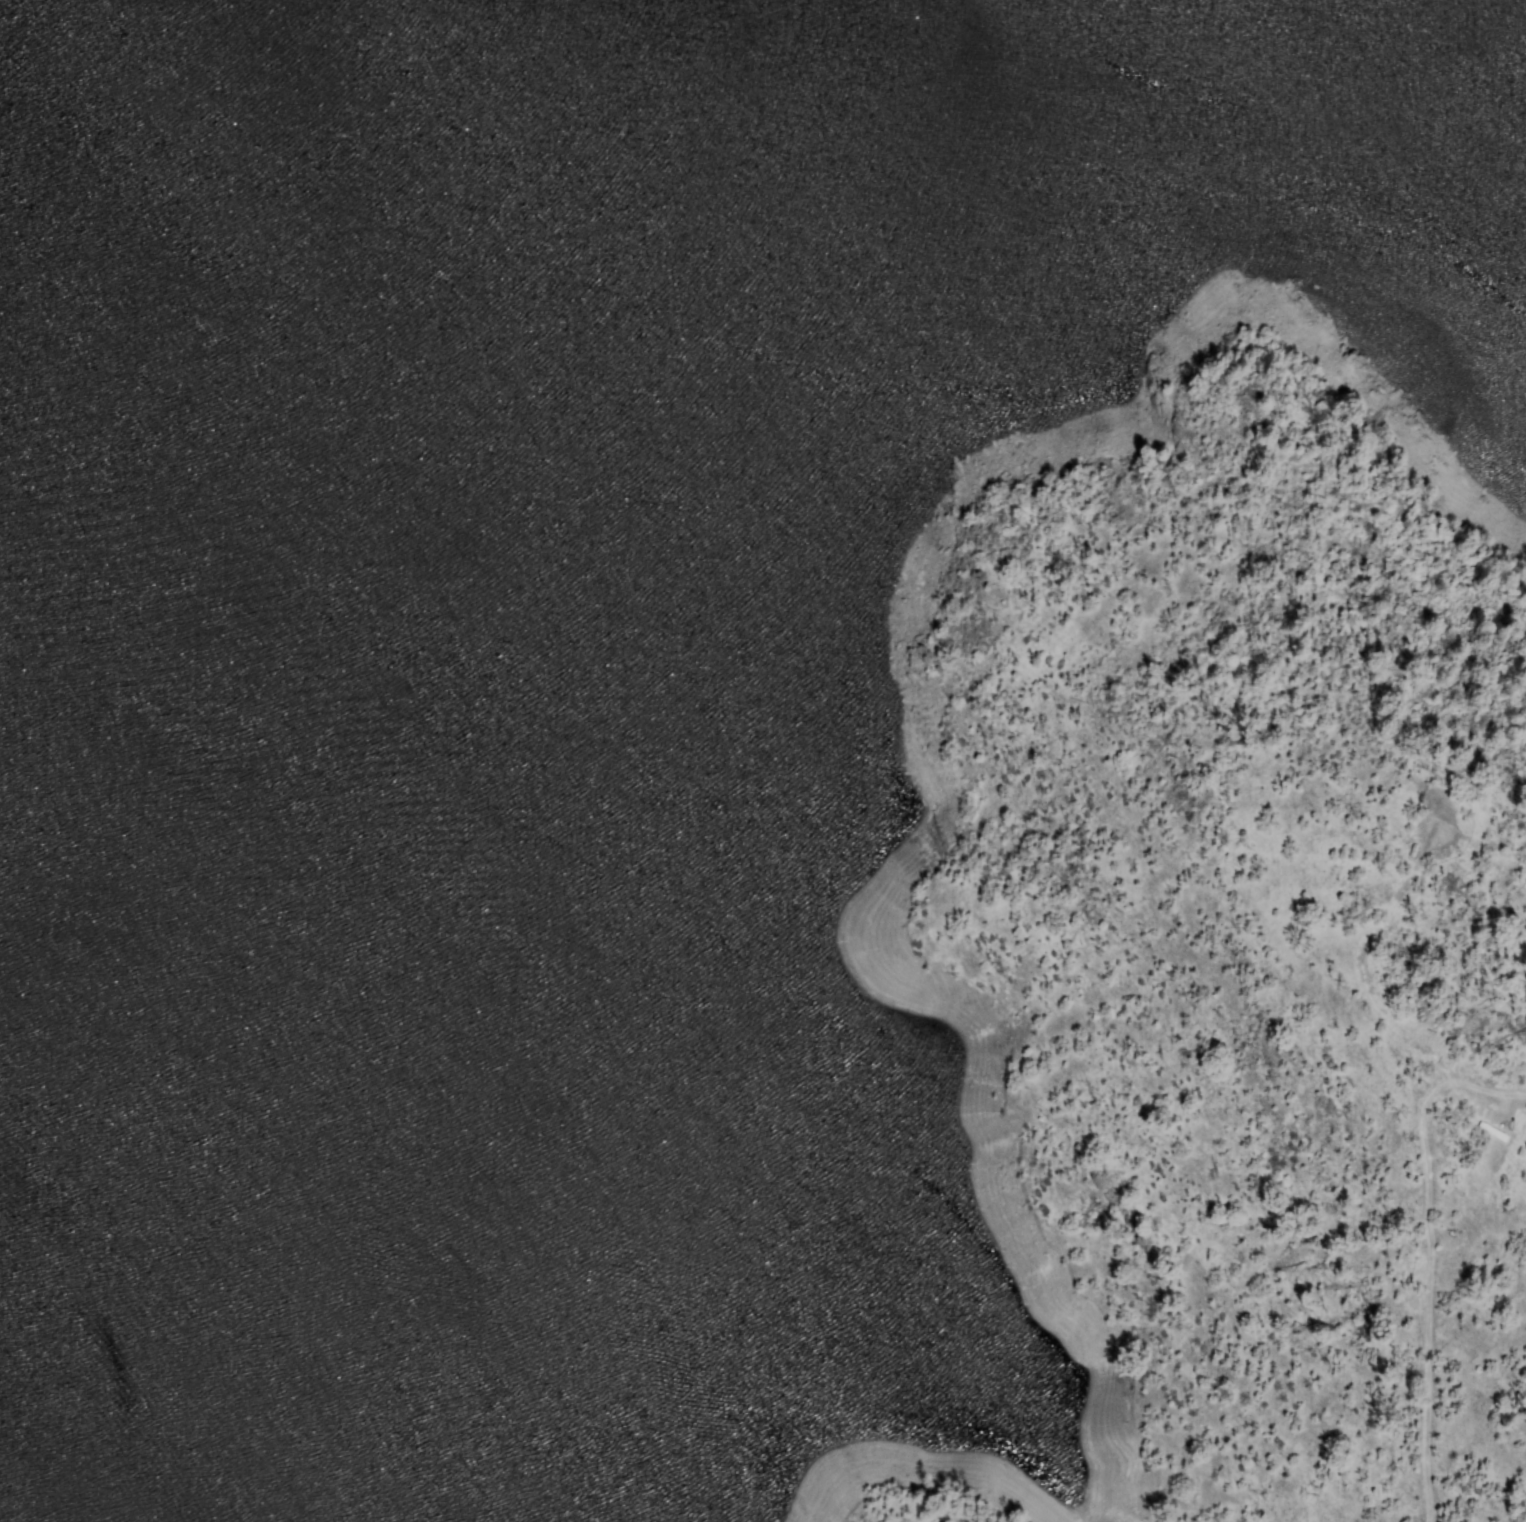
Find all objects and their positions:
river: (401, 422)
building: (358, 497)
building: (1503, 1135)

